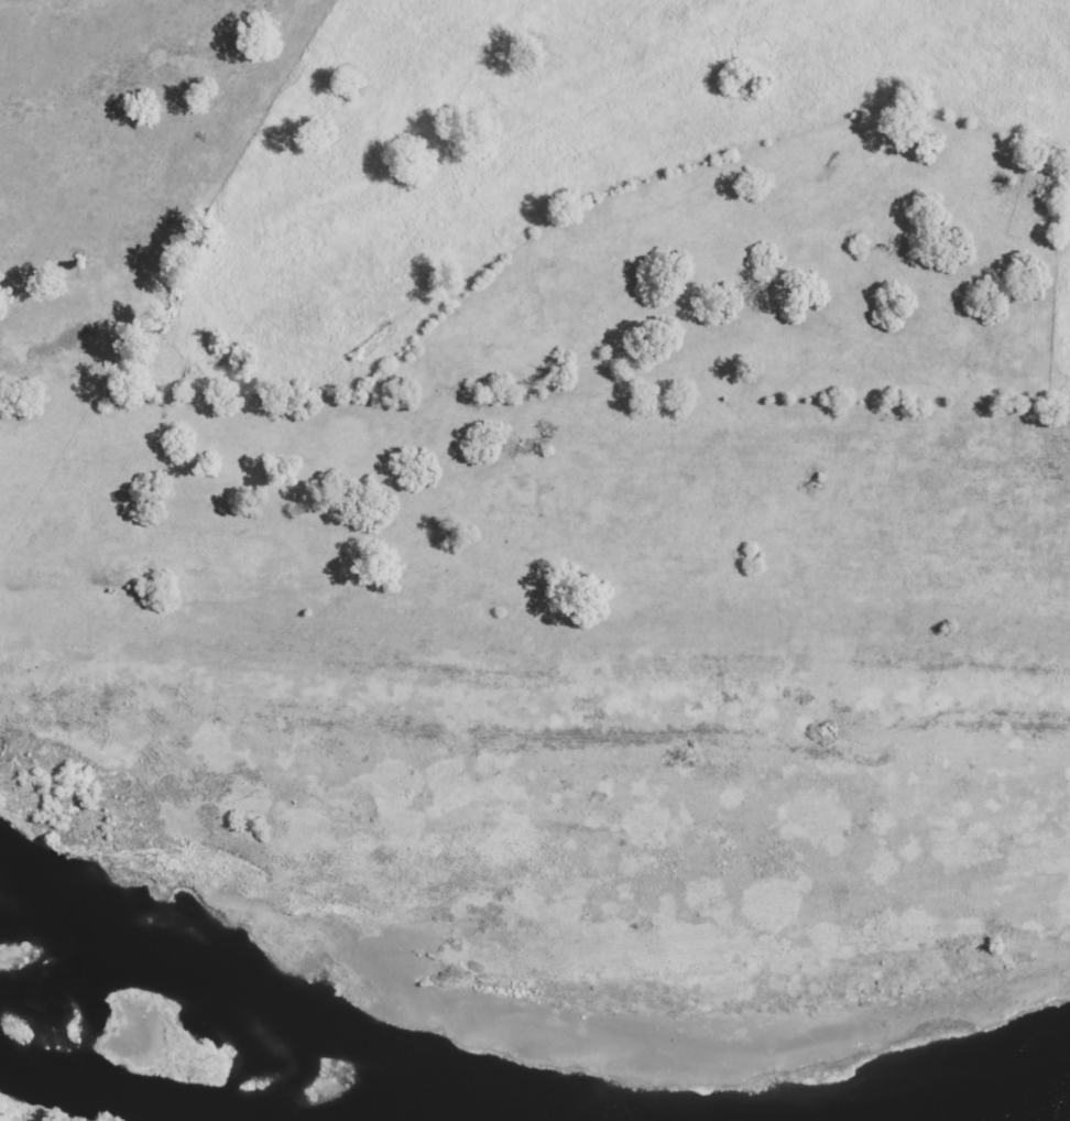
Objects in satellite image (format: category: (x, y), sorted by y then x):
river: (514, 1101)

